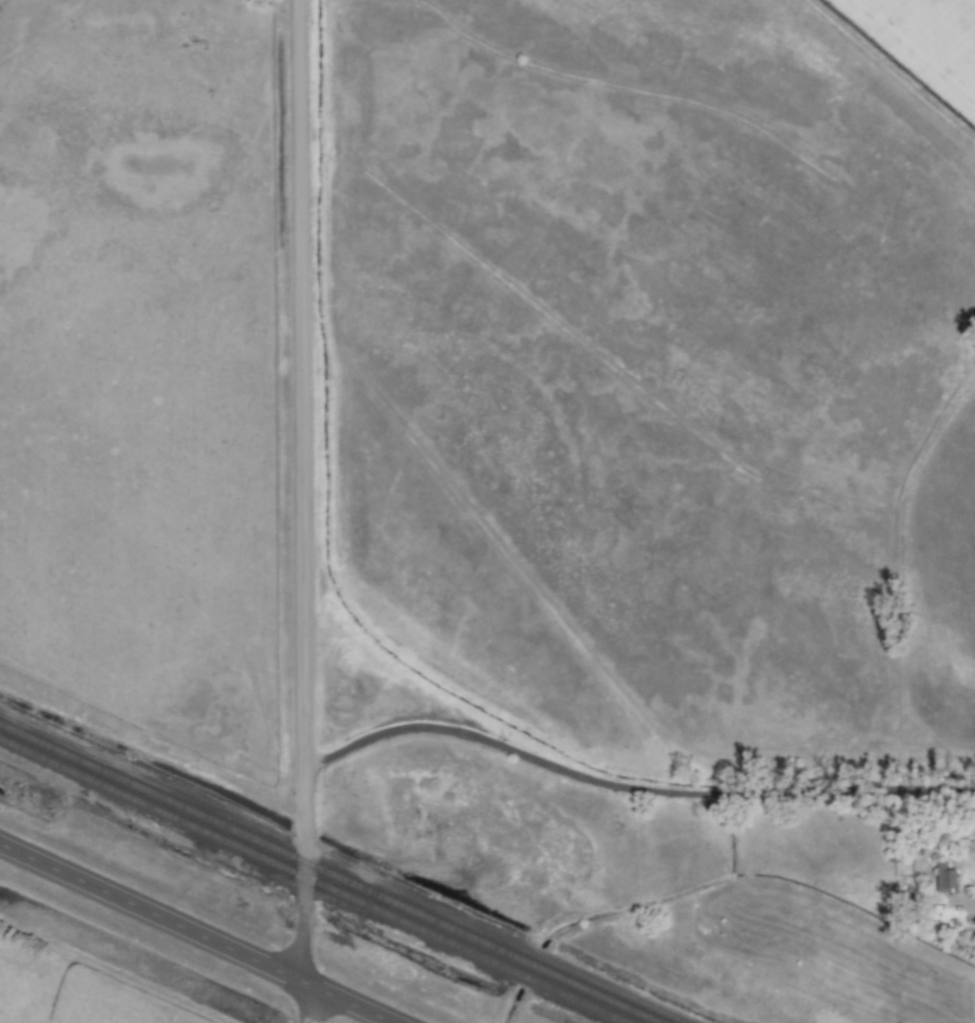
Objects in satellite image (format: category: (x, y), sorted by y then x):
road: (300, 511)
road: (631, 788)
railway: (332, 872)
building: (945, 877)
railway: (316, 880)
road: (197, 933)

